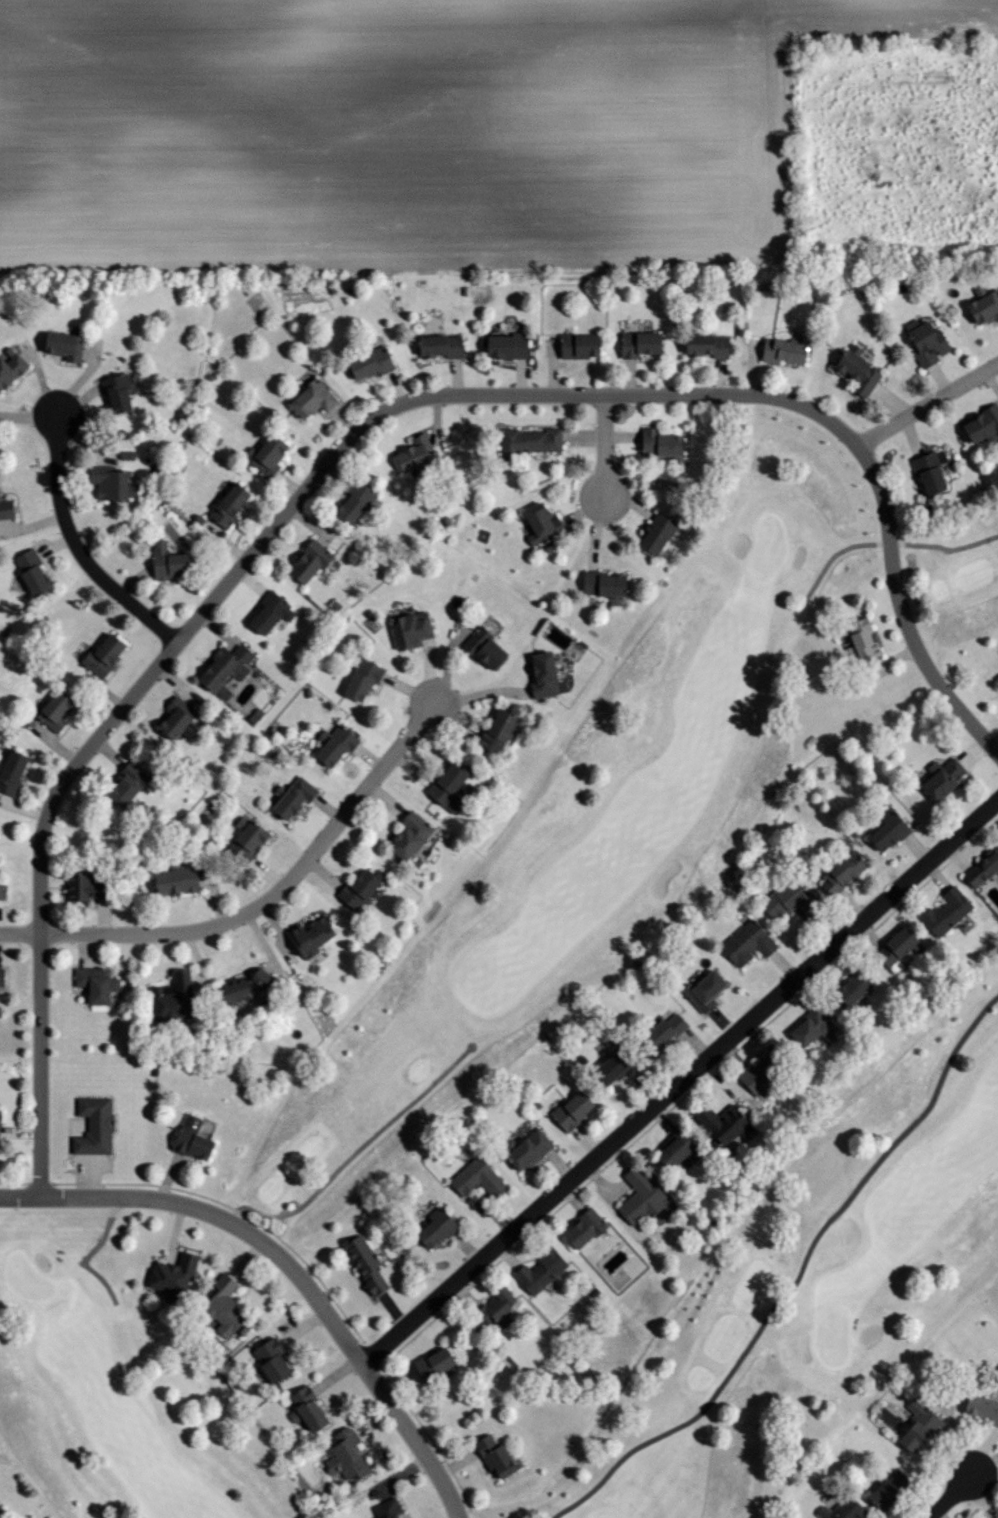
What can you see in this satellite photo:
building: (981, 304)
building: (925, 338)
building: (636, 342)
building: (59, 343)
building: (435, 344)
building: (501, 344)
building: (574, 344)
building: (703, 345)
building: (780, 349)
building: (365, 362)
building: (9, 366)
building: (855, 371)
building: (112, 390)
building: (307, 397)
road: (926, 404)
building: (980, 425)
road: (354, 433)
building: (528, 439)
building: (664, 442)
road: (604, 444)
building: (410, 450)
building: (263, 452)
building: (926, 471)
building: (104, 480)
building: (349, 501)
building: (223, 504)
building: (5, 508)
building: (539, 520)
building: (659, 533)
road: (887, 544)
road: (77, 548)
building: (162, 559)
building: (305, 559)
building: (27, 569)
building: (606, 583)
building: (265, 611)
building: (407, 628)
building: (866, 641)
building: (98, 653)
building: (490, 653)
building: (221, 665)
building: (546, 676)
building: (358, 677)
building: (239, 691)
building: (49, 708)
building: (171, 716)
building: (500, 732)
building: (329, 744)
building: (8, 771)
building: (947, 778)
building: (122, 781)
building: (449, 787)
building: (288, 795)
building: (891, 832)
building: (243, 838)
building: (412, 838)
building: (983, 871)
building: (845, 873)
building: (169, 879)
building: (74, 886)
building: (361, 889)
building: (0, 890)
building: (787, 901)
road: (261, 904)
building: (947, 912)
building: (313, 936)
building: (747, 942)
building: (900, 950)
building: (98, 984)
building: (247, 987)
building: (853, 989)
building: (708, 991)
building: (175, 999)
building: (813, 1027)
building: (665, 1031)
building: (615, 1068)
building: (765, 1073)
road: (680, 1081)
park: (579, 1088)
building: (574, 1109)
road: (923, 1114)
building: (729, 1124)
building: (96, 1128)
building: (194, 1140)
building: (532, 1149)
road: (359, 1150)
building: (679, 1151)
building: (480, 1178)
building: (641, 1196)
building: (587, 1228)
building: (439, 1229)
road: (86, 1258)
road: (288, 1264)
building: (369, 1264)
building: (542, 1269)
building: (172, 1277)
building: (500, 1309)
building: (226, 1311)
building: (274, 1361)
building: (436, 1364)
road: (714, 1392)
building: (979, 1408)
building: (311, 1409)
building: (914, 1426)
building: (494, 1453)
building: (349, 1458)
building: (885, 1489)
road: (951, 1496)
building: (388, 1509)
building: (842, 1509)
building: (997, 1517)

